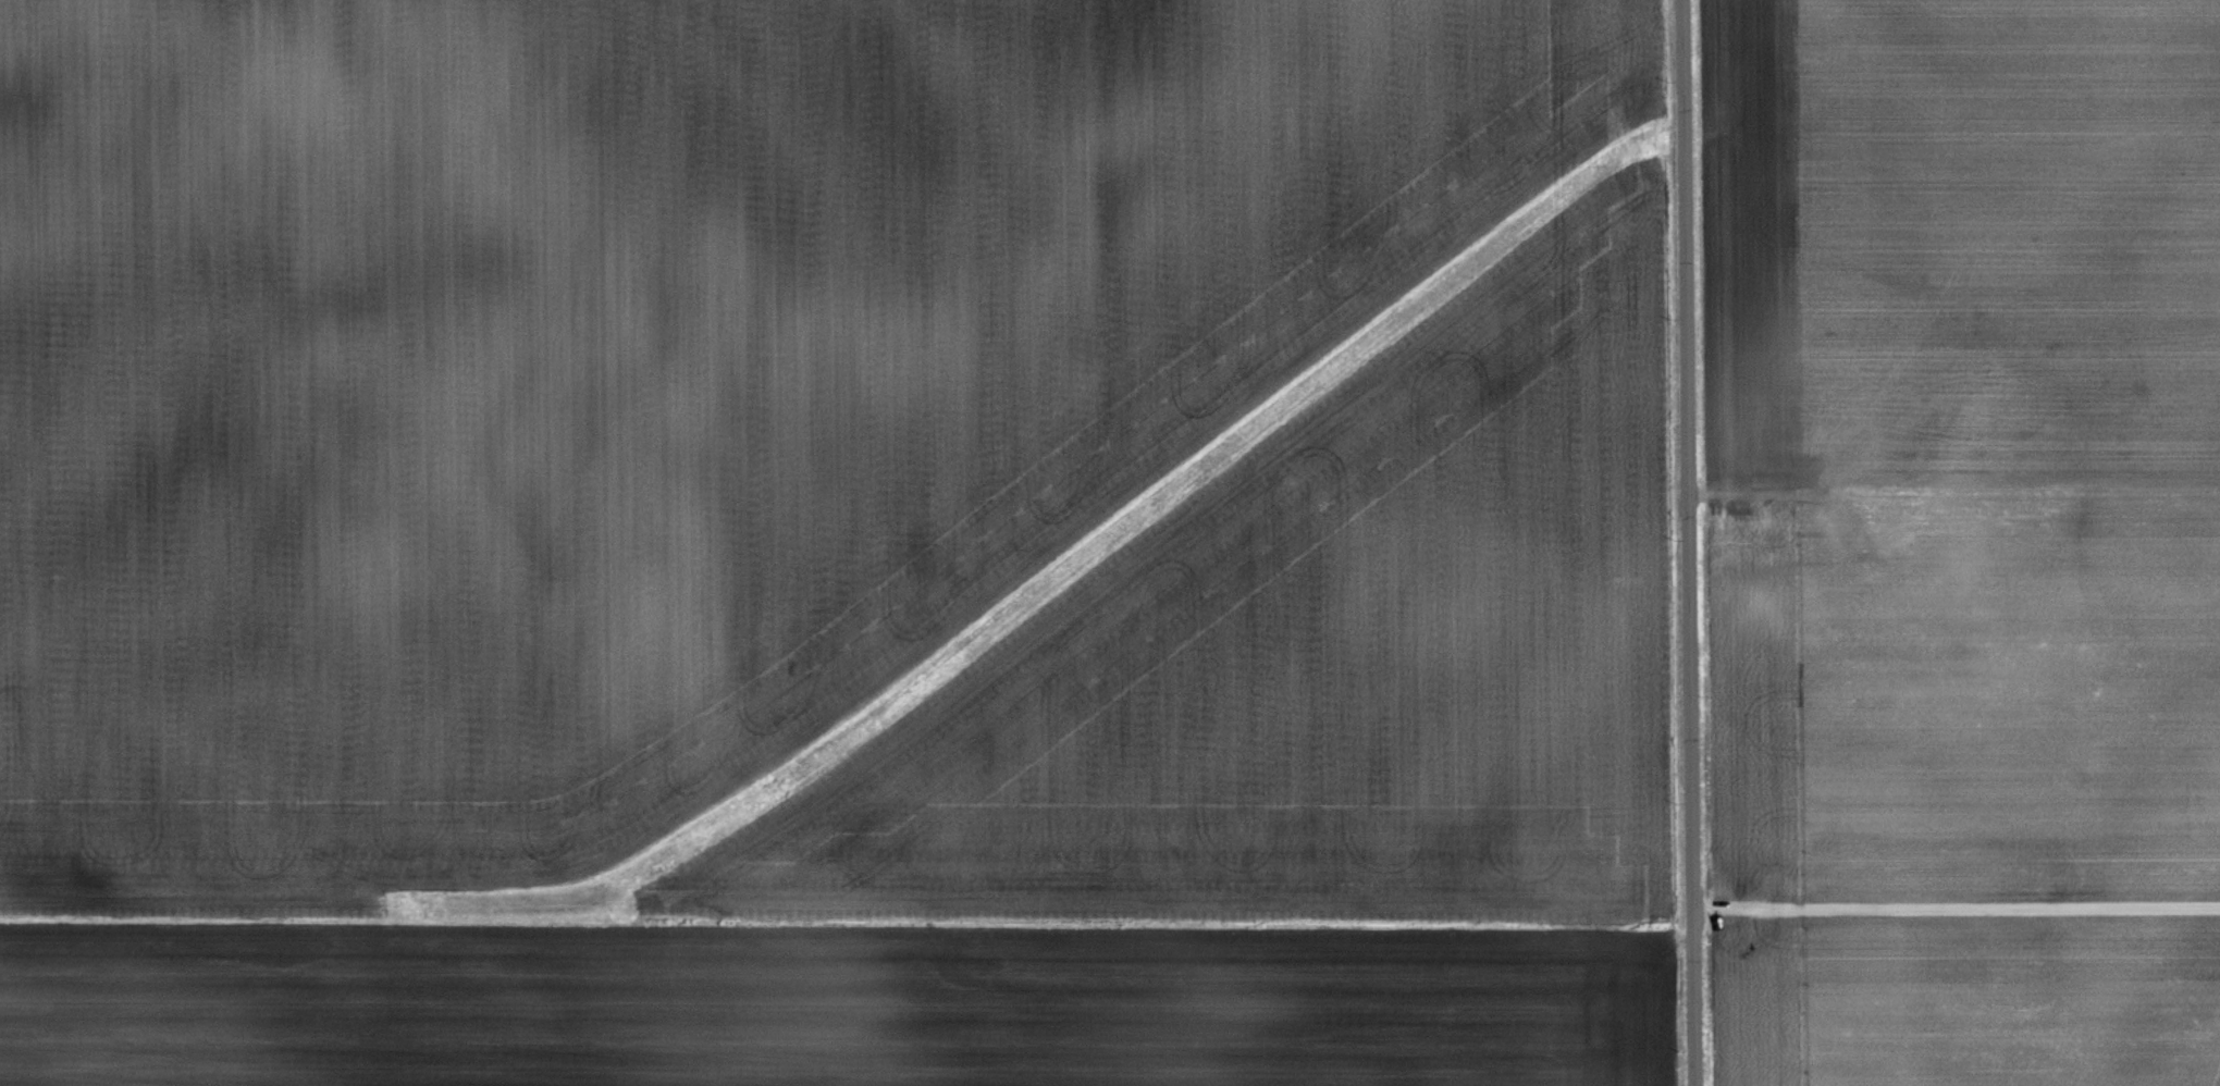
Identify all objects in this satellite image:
road: (1688, 542)
road: (1956, 906)

